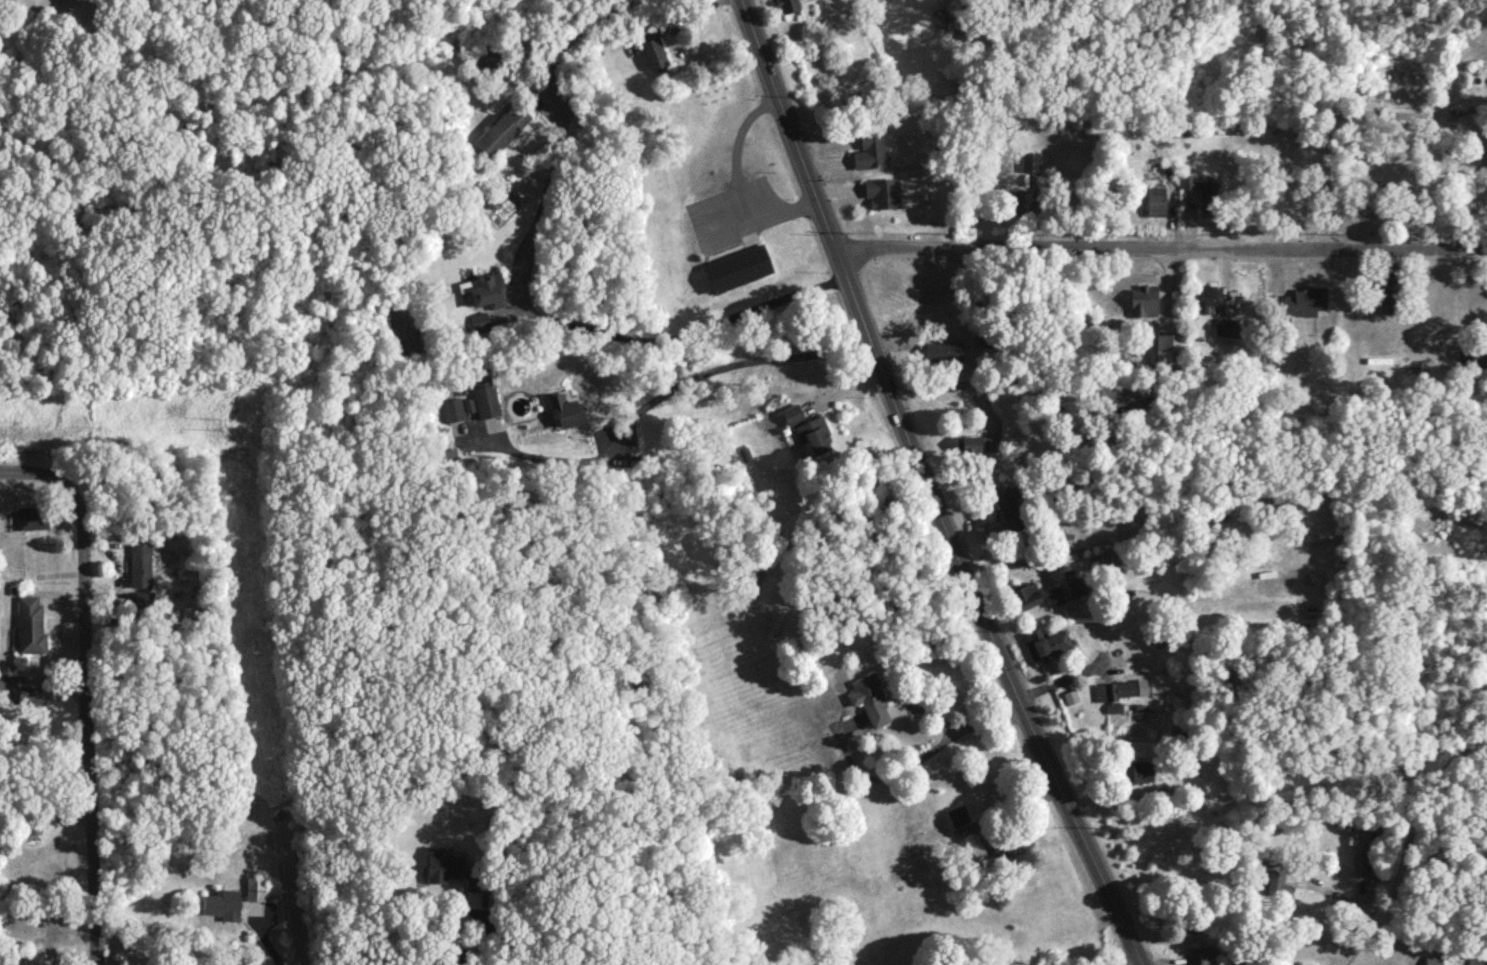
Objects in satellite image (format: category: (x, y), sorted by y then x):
building: (788, 5)
building: (653, 47)
road: (1368, 117)
road: (561, 127)
building: (502, 130)
building: (869, 150)
building: (1030, 160)
road: (736, 177)
building: (1203, 191)
building: (882, 192)
building: (1155, 201)
road: (1160, 246)
building: (738, 268)
building: (488, 291)
building: (1385, 293)
building: (1205, 296)
building: (1143, 300)
building: (1304, 301)
building: (480, 321)
building: (1226, 326)
building: (964, 350)
building: (1169, 351)
building: (1474, 355)
road: (676, 385)
road: (952, 385)
building: (485, 395)
building: (1118, 395)
building: (454, 409)
building: (563, 409)
building: (792, 414)
building: (814, 434)
building: (979, 443)
road: (37, 473)
road: (928, 488)
building: (1009, 506)
building: (33, 517)
building: (1109, 558)
building: (140, 564)
building: (1075, 585)
building: (1026, 595)
building: (1053, 595)
building: (144, 598)
building: (30, 625)
building: (1049, 641)
building: (8, 680)
building: (1119, 689)
building: (31, 694)
building: (869, 698)
building: (1114, 707)
road: (89, 724)
road: (958, 729)
building: (1138, 771)
road: (883, 778)
road: (1013, 809)
building: (958, 814)
road: (1407, 842)
building: (1016, 845)
building: (1360, 850)
building: (443, 864)
building: (1276, 880)
building: (255, 888)
building: (223, 904)
road: (1393, 942)
road: (270, 945)
road: (476, 948)
building: (1203, 958)
building: (1433, 959)
road: (1138, 964)

